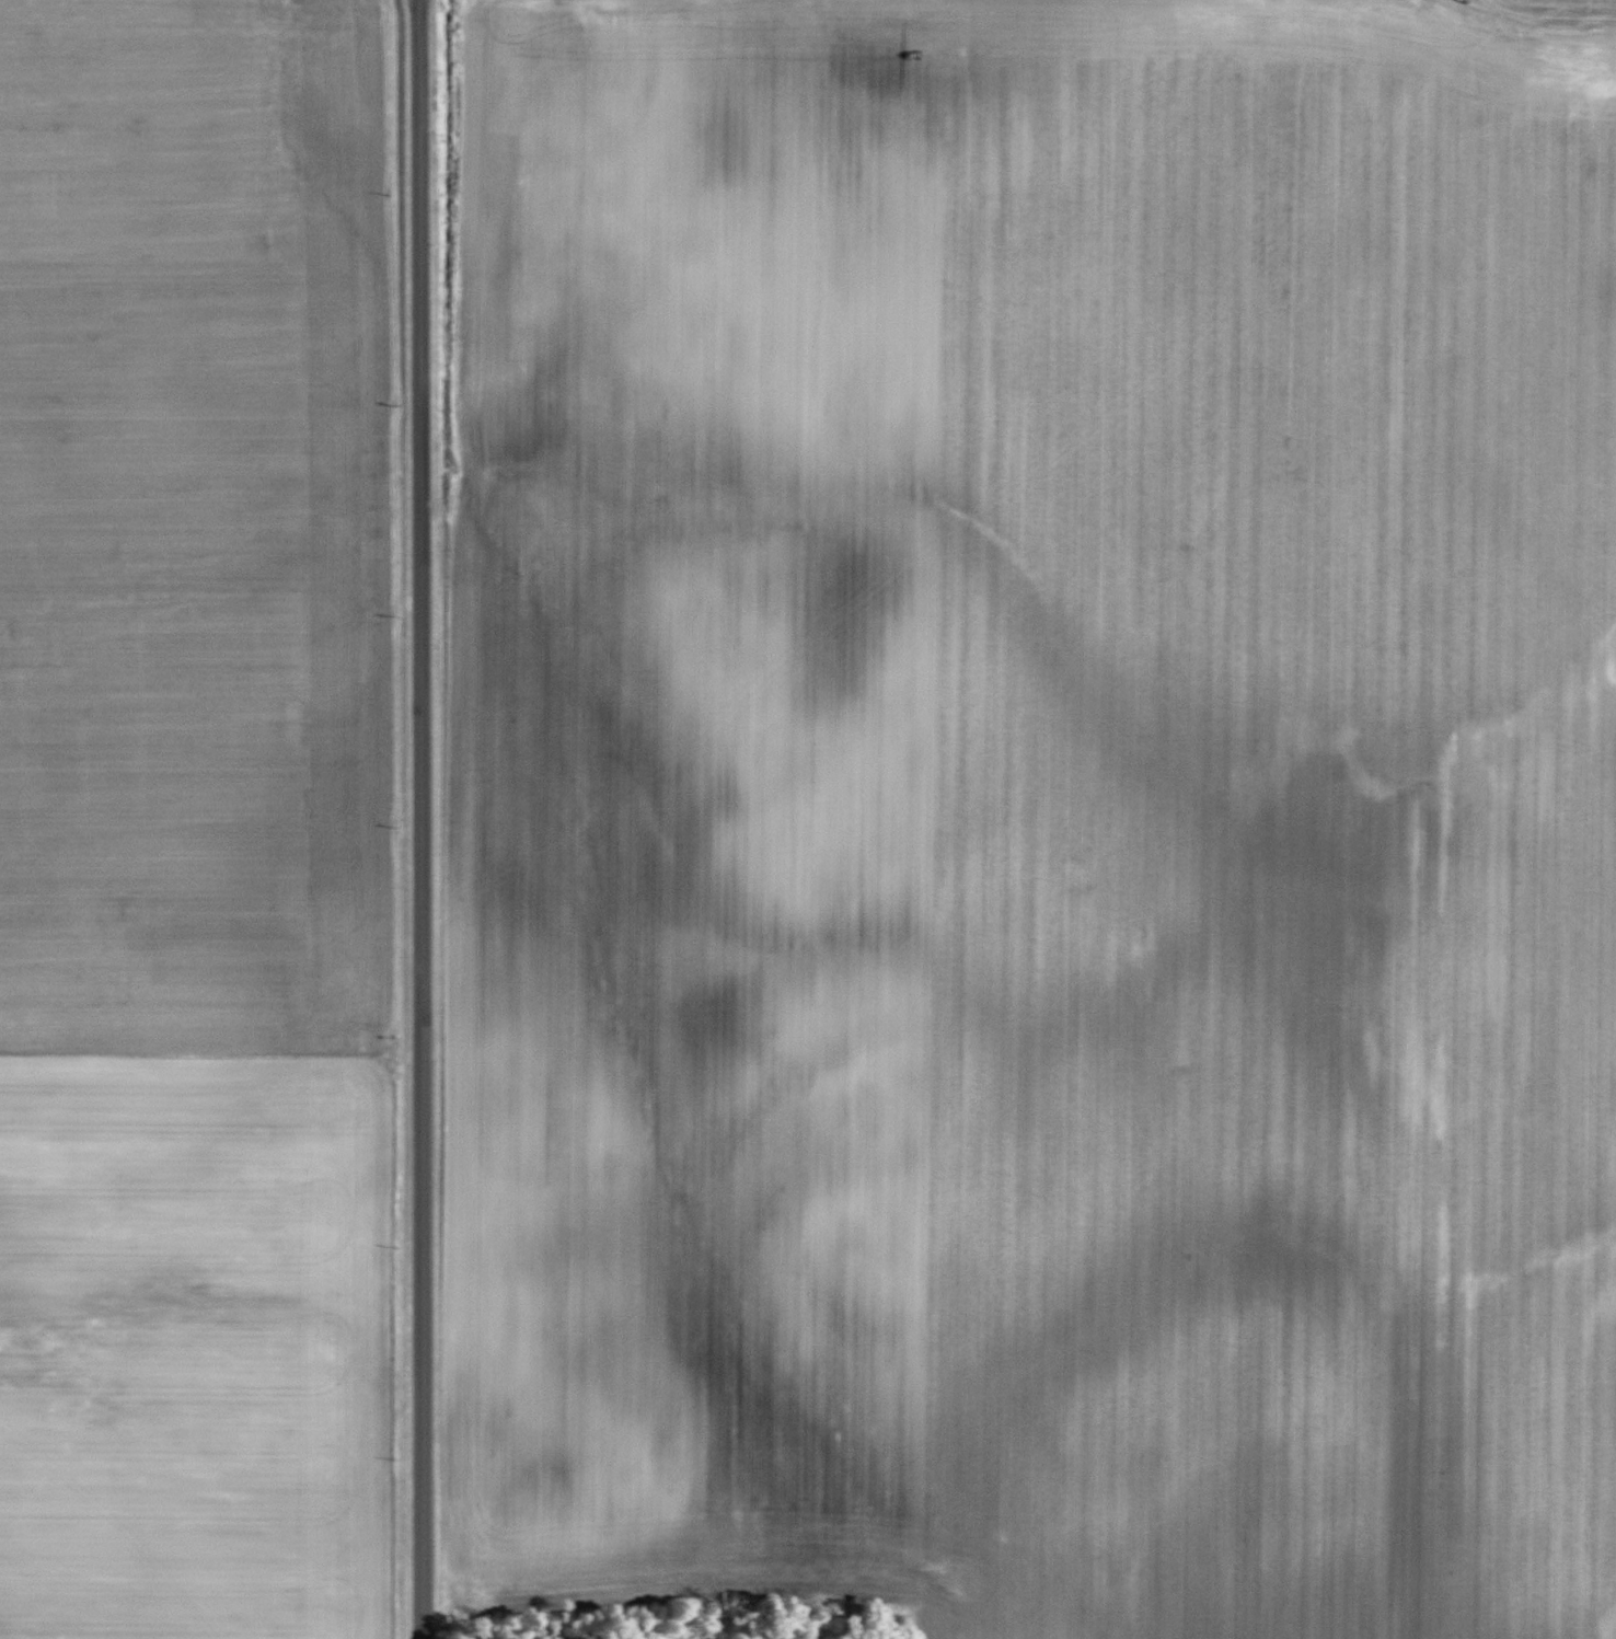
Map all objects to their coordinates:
road: (416, 819)

